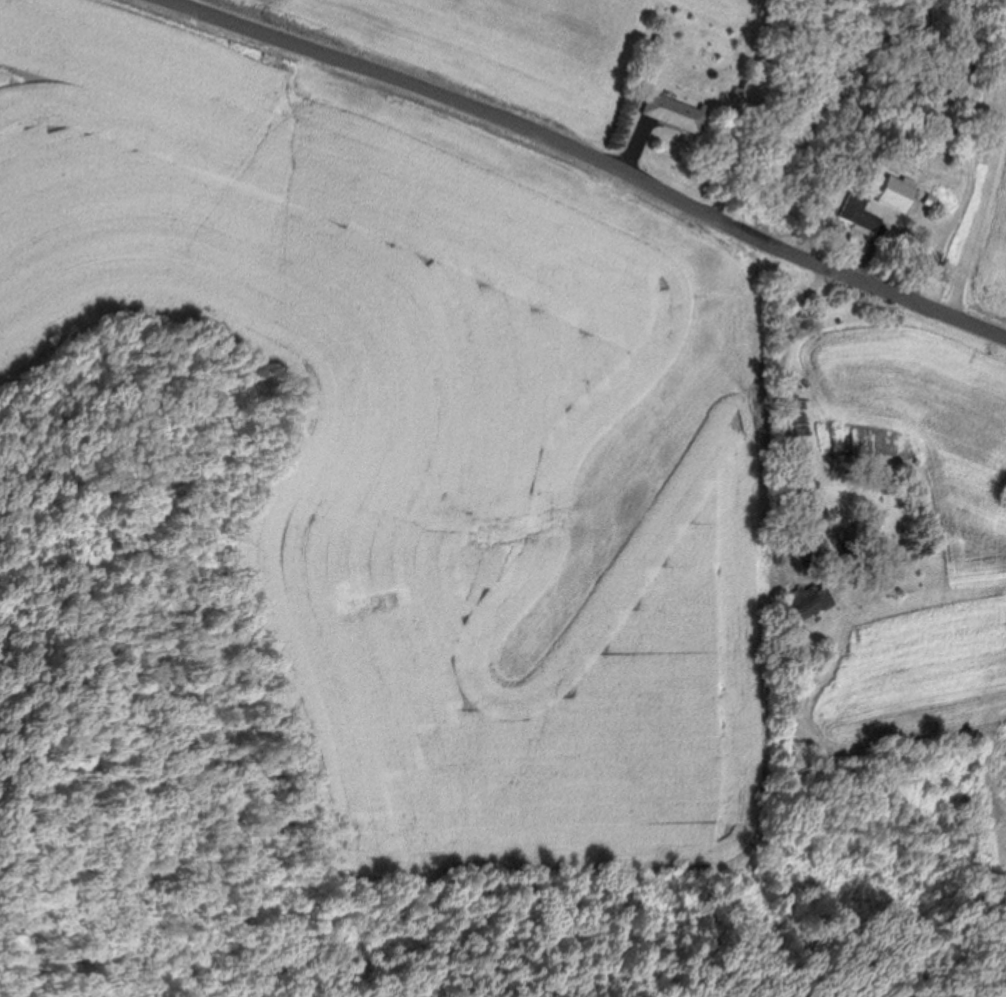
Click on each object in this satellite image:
building: (675, 110)
building: (942, 130)
road: (589, 147)
building: (893, 188)
building: (859, 212)
road: (982, 214)
road: (787, 408)
building: (812, 600)

